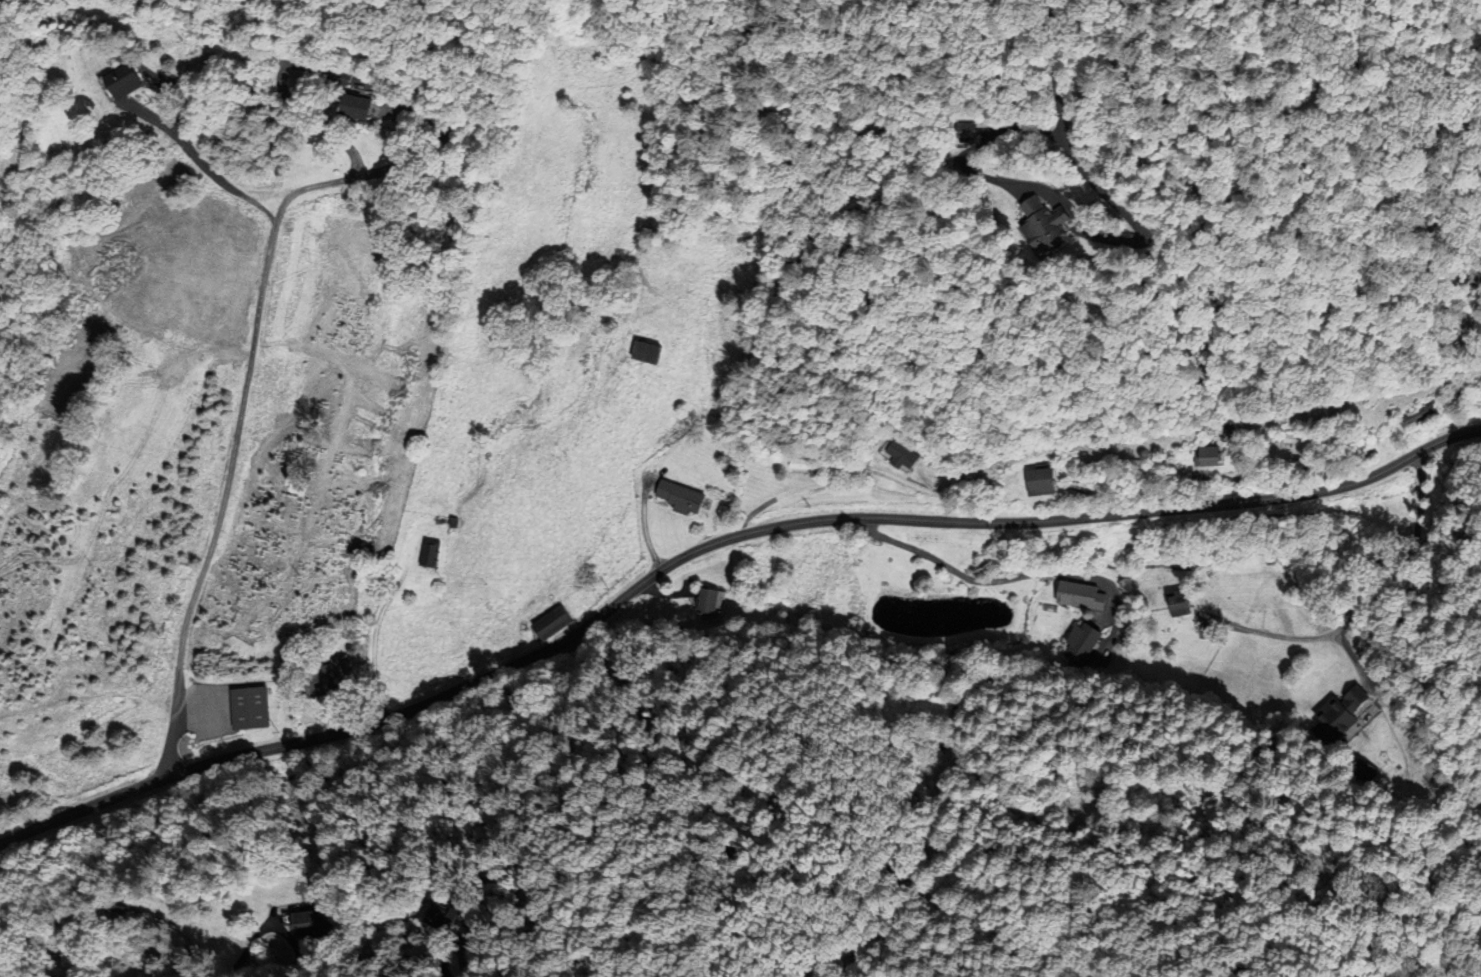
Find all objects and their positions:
building: (339, 79)
building: (117, 88)
road: (1129, 93)
building: (341, 107)
building: (955, 130)
road: (213, 175)
building: (1040, 225)
road: (253, 350)
building: (645, 354)
building: (1413, 417)
building: (1292, 442)
building: (898, 455)
building: (1200, 457)
building: (804, 466)
building: (1033, 483)
building: (676, 498)
road: (715, 542)
building: (430, 554)
road: (1002, 580)
building: (1091, 598)
road: (1368, 602)
building: (705, 603)
building: (1176, 606)
building: (551, 624)
building: (1081, 645)
building: (338, 664)
building: (311, 682)
building: (244, 708)
building: (1339, 712)
building: (932, 741)
building: (444, 918)
building: (313, 924)
road: (278, 926)
road: (248, 945)

